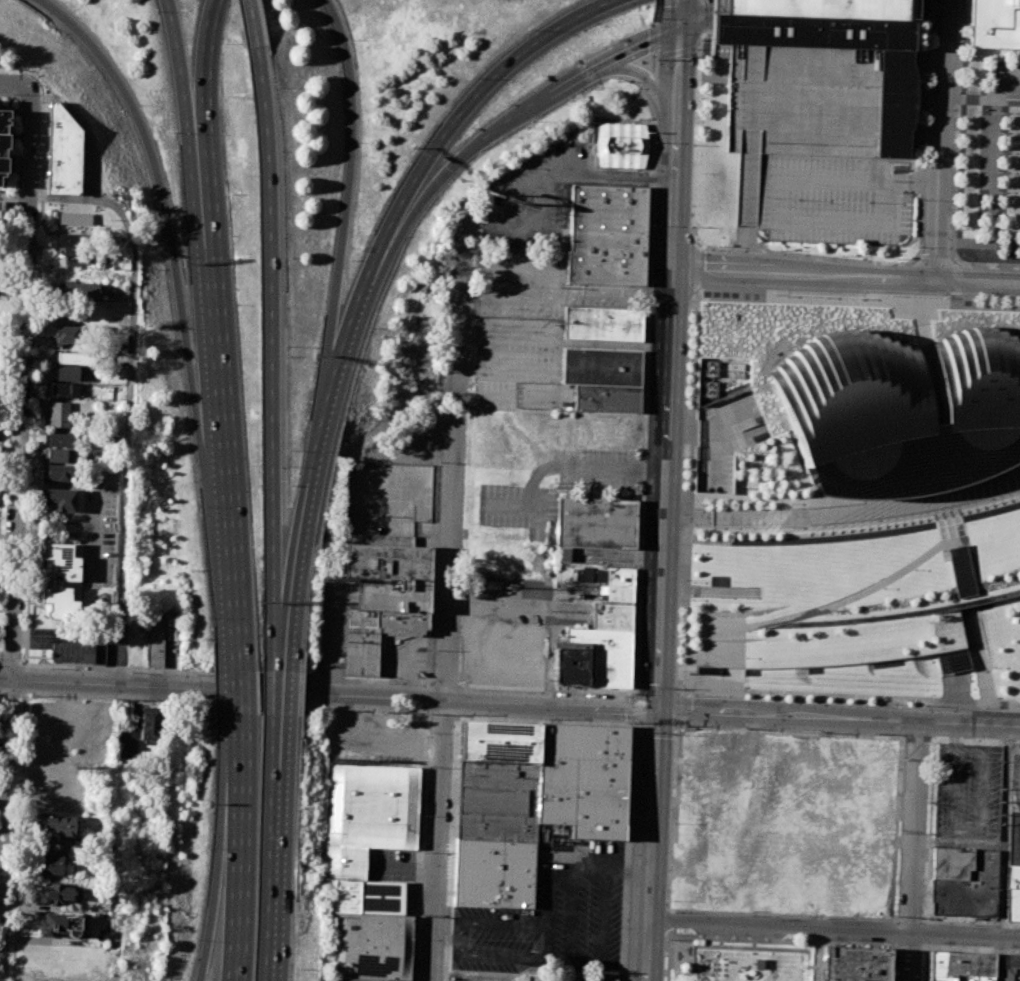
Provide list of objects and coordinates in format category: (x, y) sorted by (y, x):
road: (656, 2)
road: (680, 2)
road: (929, 10)
road: (654, 12)
street lamp: (657, 18)
building: (996, 23)
road: (253, 24)
road: (694, 25)
traffic signals: (679, 30)
road: (653, 38)
building: (837, 46)
road: (687, 49)
road: (606, 63)
road: (650, 75)
road: (648, 79)
road: (16, 82)
road: (985, 91)
street lamp: (11, 93)
street lamp: (40, 100)
parking lot: (802, 100)
road: (988, 101)
road: (1013, 102)
road: (205, 103)
road: (185, 104)
road: (470, 105)
road: (507, 123)
building: (3, 137)
road: (939, 138)
street lamp: (654, 142)
street lamp: (693, 144)
building: (621, 145)
road: (695, 146)
building: (62, 151)
road: (990, 151)
road: (614, 177)
road: (884, 180)
road: (952, 180)
street lamp: (37, 186)
road: (347, 189)
road: (991, 191)
road: (13, 195)
road: (748, 195)
street lamp: (869, 198)
street lamp: (918, 198)
parking lot: (829, 199)
road: (424, 200)
parking lot: (534, 200)
street lamp: (797, 200)
building: (0, 213)
road: (779, 216)
road: (167, 217)
building: (74, 219)
street lamp: (651, 226)
street lamp: (692, 226)
building: (606, 235)
building: (71, 244)
street lamp: (719, 245)
street lamp: (915, 246)
street lamp: (780, 249)
road: (919, 252)
street lamp: (840, 255)
street lamp: (897, 258)
road: (934, 261)
street lamp: (966, 261)
road: (987, 266)
road: (696, 267)
street lamp: (35, 271)
road: (846, 273)
street lamp: (445, 281)
road: (955, 282)
parking lot: (534, 286)
road: (709, 286)
building: (76, 289)
road: (611, 293)
street lamp: (785, 295)
street lamp: (824, 295)
road: (7, 296)
street lamp: (860, 296)
street lamp: (897, 296)
road: (534, 297)
street lamp: (942, 298)
road: (801, 299)
road: (948, 300)
street lamp: (984, 302)
street lamp: (1008, 302)
road: (934, 304)
road: (987, 306)
building: (67, 312)
street lamp: (690, 312)
road: (349, 321)
building: (603, 324)
building: (63, 335)
road: (270, 336)
building: (117, 345)
road: (573, 345)
building: (73, 357)
parking lot: (515, 357)
building: (116, 358)
road: (694, 358)
road: (922, 362)
building: (602, 367)
road: (477, 368)
road: (465, 369)
street lamp: (441, 372)
building: (64, 373)
street lamp: (30, 379)
road: (644, 388)
building: (65, 389)
building: (710, 389)
road: (130, 396)
building: (608, 398)
street lamp: (687, 398)
building: (902, 411)
building: (58, 414)
road: (221, 438)
parking lot: (413, 439)
building: (61, 440)
building: (56, 455)
street lamp: (439, 462)
parking lot: (599, 469)
building: (56, 472)
road: (990, 475)
street lamp: (27, 485)
street lamp: (684, 488)
road: (665, 493)
parking lot: (387, 497)
road: (848, 497)
building: (58, 498)
road: (306, 503)
parking lot: (518, 507)
road: (844, 513)
building: (595, 523)
road: (951, 527)
road: (13, 535)
street lamp: (692, 551)
building: (502, 553)
building: (564, 554)
street lamp: (436, 555)
road: (688, 555)
building: (60, 561)
building: (387, 562)
road: (432, 573)
street lamp: (23, 579)
street lamp: (681, 580)
street lamp: (692, 581)
building: (612, 582)
building: (494, 584)
parking lot: (581, 591)
parking lot: (850, 591)
building: (392, 595)
street lamp: (721, 600)
street lamp: (750, 600)
parking lot: (508, 602)
building: (58, 603)
road: (446, 603)
street lamp: (693, 603)
road: (831, 605)
parking lot: (572, 617)
parking lot: (333, 622)
building: (375, 635)
road: (328, 639)
building: (155, 643)
building: (608, 644)
road: (280, 648)
street lamp: (433, 650)
building: (78, 653)
road: (407, 653)
parking lot: (407, 658)
road: (10, 663)
building: (572, 663)
road: (983, 668)
street lamp: (678, 670)
road: (226, 673)
road: (445, 684)
road: (957, 686)
road: (545, 687)
road: (712, 690)
road: (236, 691)
road: (280, 693)
road: (329, 694)
street lamp: (693, 695)
road: (834, 695)
street lamp: (728, 697)
street lamp: (756, 698)
street lamp: (795, 700)
road: (956, 700)
street lamp: (818, 701)
road: (982, 701)
street lamp: (860, 702)
street lamp: (895, 705)
street lamp: (925, 705)
road: (273, 707)
road: (1006, 707)
street lamp: (327, 708)
street lamp: (985, 708)
traffic signals: (658, 709)
street lamp: (383, 712)
street lamp: (460, 715)
road: (442, 716)
street lamp: (548, 717)
road: (838, 719)
road: (542, 720)
street lamp: (626, 721)
building: (151, 724)
street lamp: (18, 726)
road: (679, 727)
street lamp: (674, 734)
street lamp: (426, 735)
road: (953, 735)
road: (883, 736)
parking lot: (380, 737)
road: (917, 737)
road: (384, 738)
road: (976, 738)
building: (497, 742)
road: (237, 747)
street lamp: (968, 757)
building: (581, 778)
parking lot: (1015, 779)
street lamp: (967, 787)
parking lot: (968, 790)
building: (496, 800)
building: (373, 806)
street lamp: (424, 815)
street lamp: (966, 817)
street lamp: (669, 822)
road: (949, 823)
street lamp: (14, 826)
building: (56, 827)
road: (929, 830)
road: (1004, 830)
street lamp: (899, 831)
road: (276, 848)
road: (420, 848)
road: (451, 849)
road: (913, 850)
road: (626, 855)
road: (1, 862)
building: (51, 863)
building: (347, 863)
road: (562, 870)
road: (589, 871)
building: (494, 872)
road: (217, 881)
road: (237, 881)
building: (962, 883)
building: (53, 893)
building: (1013, 893)
road: (549, 896)
building: (369, 897)
street lamp: (667, 899)
parking lot: (578, 906)
road: (669, 910)
road: (695, 910)
street lamp: (747, 914)
street lamp: (896, 914)
street lamp: (419, 915)
road: (572, 915)
road: (603, 916)
street lamp: (826, 917)
road: (669, 919)
road: (910, 920)
road: (510, 922)
road: (972, 922)
building: (62, 924)
street lamp: (973, 924)
road: (462, 927)
road: (833, 929)
street lamp: (9, 932)
road: (446, 937)
parking lot: (491, 937)
street lamp: (667, 939)
road: (780, 939)
road: (547, 940)
street lamp: (699, 940)
road: (722, 941)
street lamp: (725, 941)
street lamp: (758, 942)
road: (755, 943)
street lamp: (794, 944)
road: (909, 945)
building: (371, 946)
road: (751, 947)
road: (924, 947)
road: (956, 949)
road: (817, 955)
road: (498, 956)
road: (669, 958)
road: (997, 958)
road: (574, 960)
park: (739, 961)
road: (890, 962)
road: (721, 963)
building: (852, 964)
road: (767, 965)
road: (795, 966)
building: (961, 966)
building: (1011, 968)
building: (598, 978)

